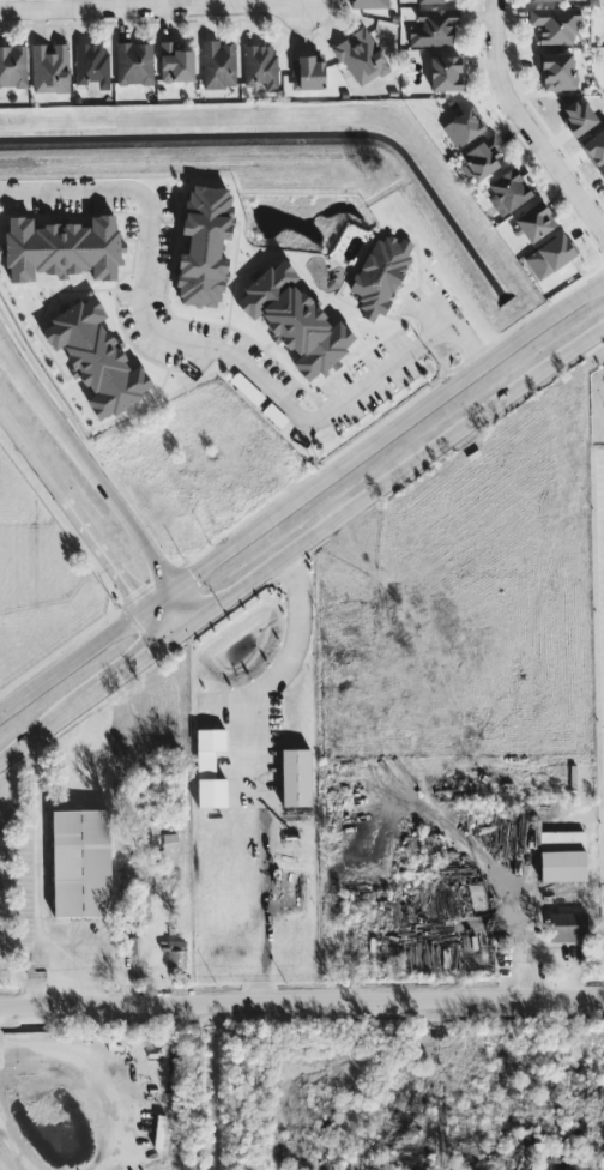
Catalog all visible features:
building: (431, 0)
building: (542, 0)
road: (300, 1)
building: (370, 4)
road: (150, 6)
building: (555, 24)
building: (434, 26)
building: (361, 56)
building: (134, 62)
building: (175, 62)
building: (218, 64)
building: (13, 65)
building: (91, 65)
building: (260, 65)
building: (49, 67)
building: (557, 70)
building: (307, 72)
building: (445, 72)
road: (526, 122)
building: (463, 126)
river: (294, 135)
building: (594, 146)
building: (481, 157)
building: (603, 173)
building: (508, 189)
building: (534, 221)
building: (204, 245)
building: (61, 247)
building: (549, 255)
building: (380, 273)
building: (295, 320)
road: (461, 327)
road: (439, 328)
road: (452, 338)
road: (167, 339)
road: (473, 354)
building: (95, 357)
road: (372, 441)
road: (31, 457)
road: (403, 469)
road: (101, 476)
road: (102, 554)
traffic signals: (179, 581)
traffic signals: (141, 608)
traffic signals: (203, 613)
road: (152, 622)
road: (183, 625)
traffic signals: (164, 638)
road: (71, 659)
road: (121, 670)
road: (40, 731)
building: (409, 743)
building: (210, 768)
road: (253, 772)
building: (296, 777)
building: (562, 855)
building: (80, 862)
road: (488, 870)
road: (37, 888)
building: (568, 925)
building: (176, 953)
road: (302, 1003)
road: (92, 1076)
road: (212, 1086)
landfill: (93, 1099)
road: (16, 1145)

